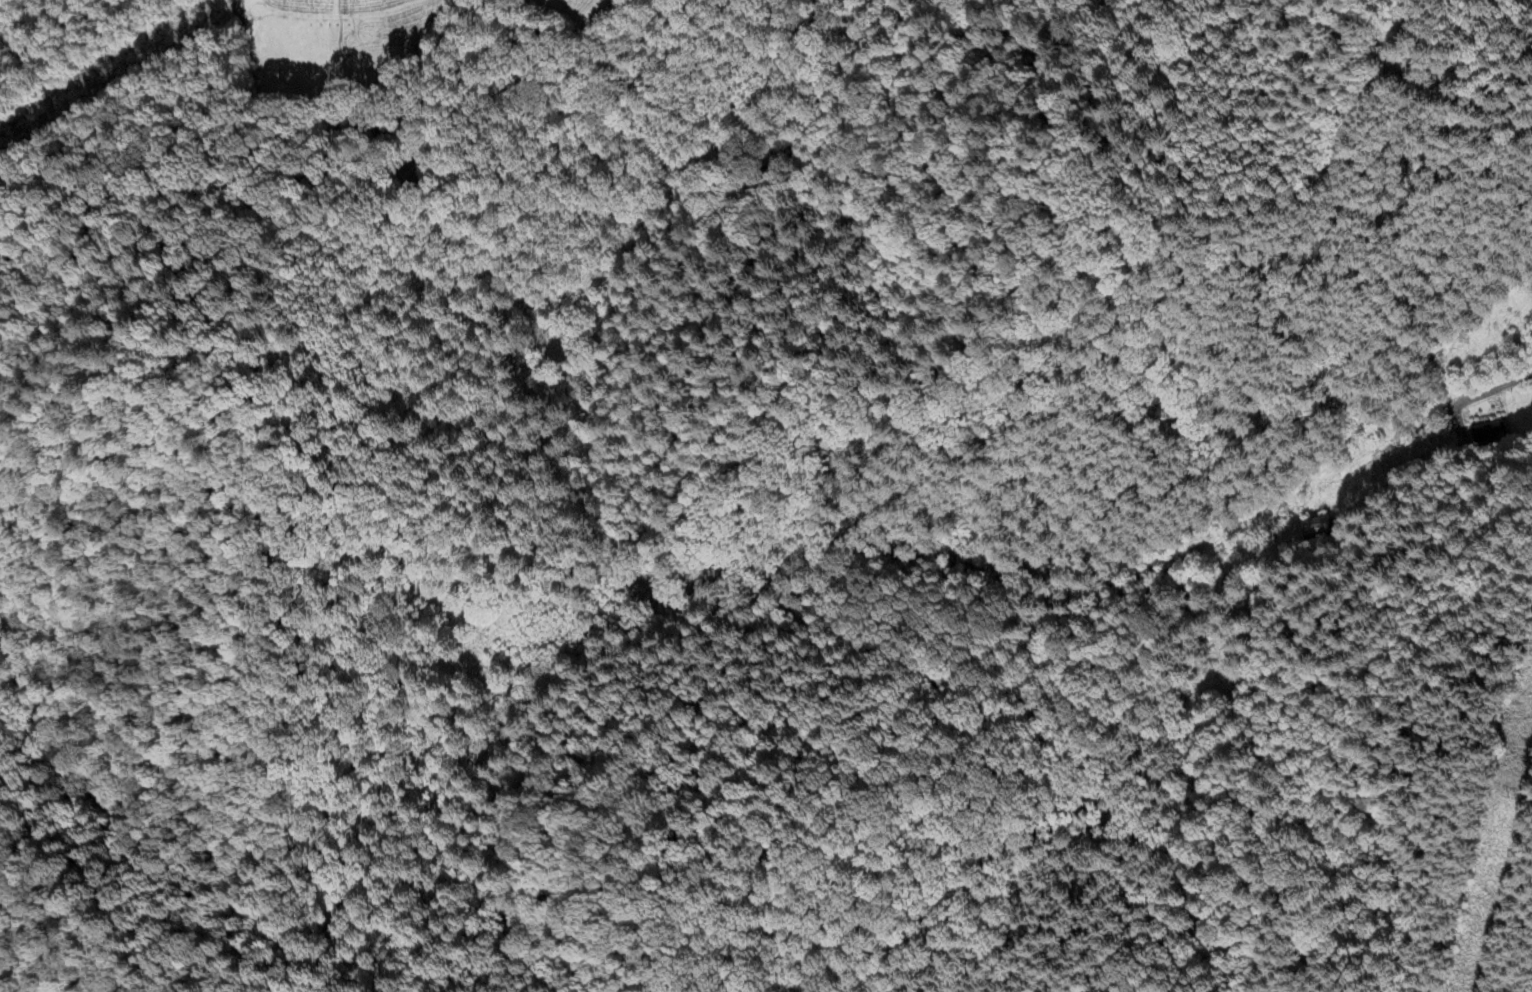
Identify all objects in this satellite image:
road: (1382, 446)
building: (1317, 529)

